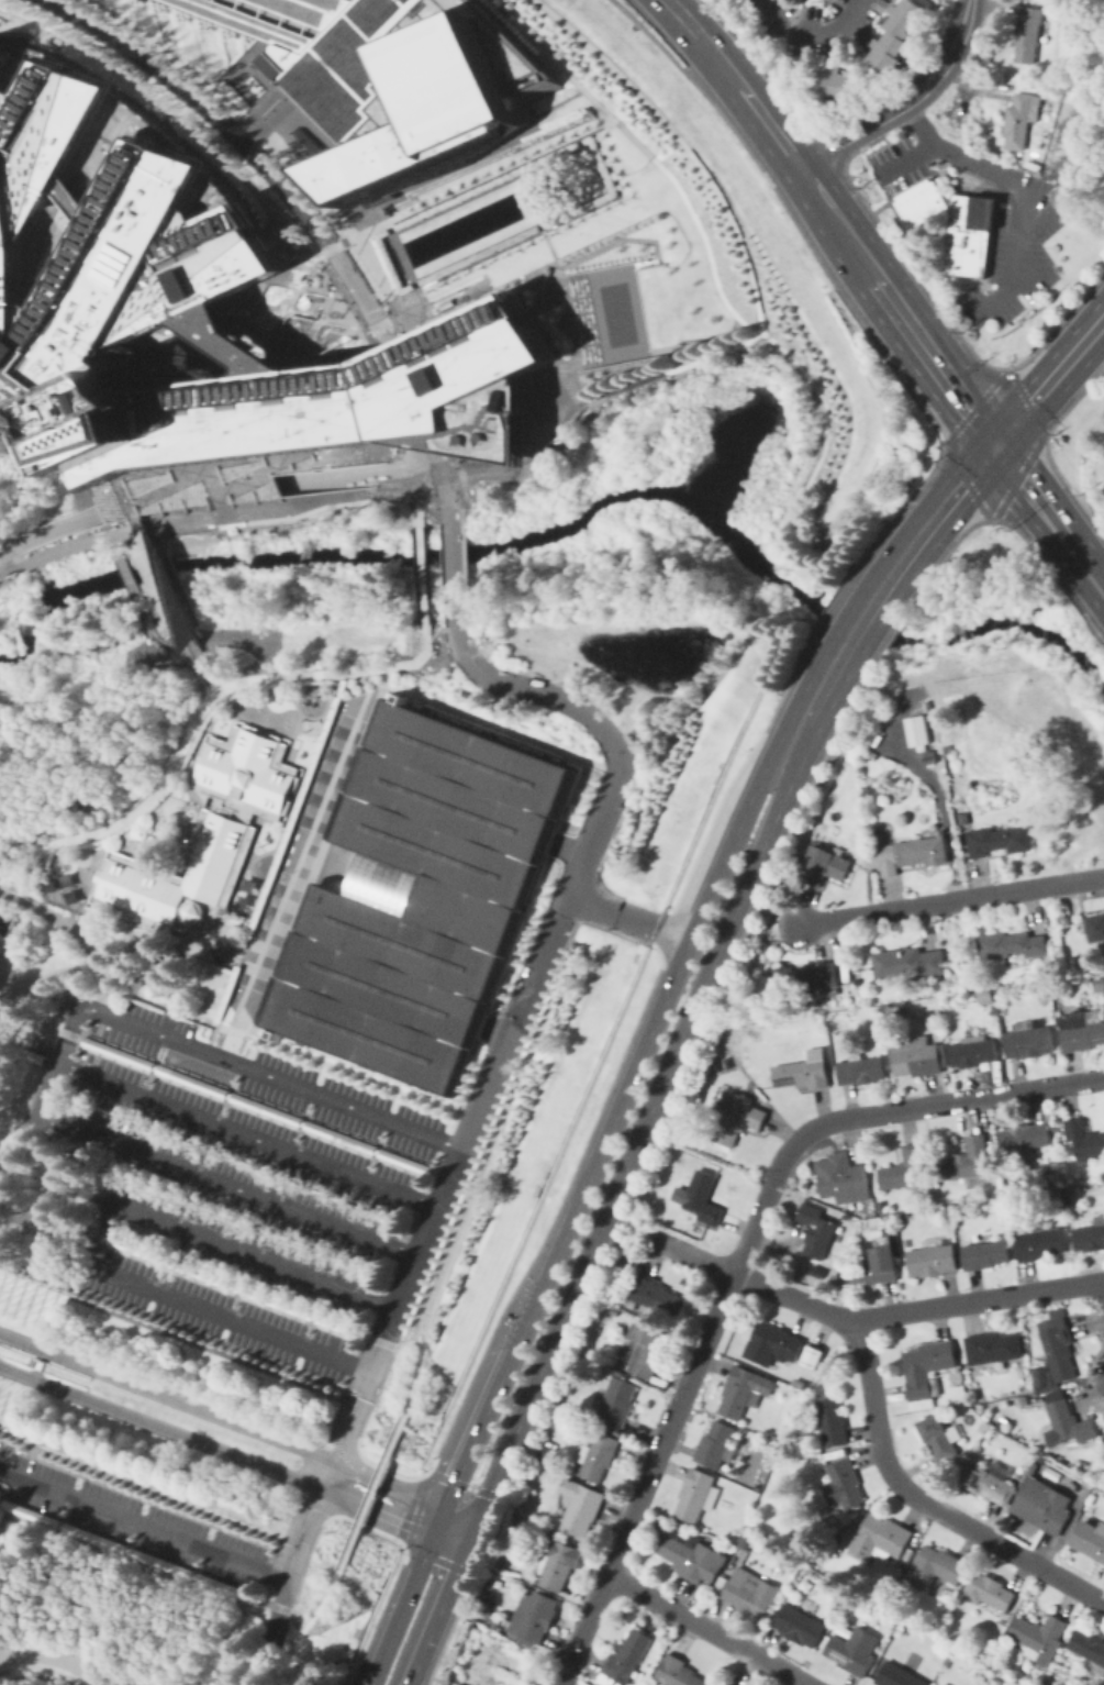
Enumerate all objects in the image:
road: (810, 33)
building: (1028, 34)
building: (899, 35)
parking lot: (356, 53)
road: (735, 79)
building: (837, 82)
building: (392, 85)
road: (960, 90)
road: (906, 103)
road: (264, 115)
building: (1021, 119)
road: (684, 143)
road: (245, 146)
road: (274, 147)
road: (213, 149)
road: (945, 149)
road: (903, 160)
road: (1067, 165)
road: (605, 190)
building: (918, 203)
road: (852, 212)
street lamp: (654, 217)
street lamp: (646, 220)
street lamp: (638, 223)
road: (548, 226)
street lamp: (633, 226)
street lamp: (666, 228)
road: (368, 229)
street lamp: (624, 230)
road: (984, 231)
street lamp: (617, 233)
street lamp: (668, 233)
building: (966, 234)
street lamp: (610, 236)
street lamp: (602, 241)
road: (548, 244)
street lamp: (595, 244)
street lamp: (666, 244)
road: (327, 246)
street lamp: (588, 247)
street lamp: (667, 248)
street lamp: (581, 251)
road: (812, 253)
road: (1013, 253)
street lamp: (573, 254)
street lamp: (566, 257)
street lamp: (559, 260)
road: (548, 271)
street lamp: (508, 284)
street lamp: (500, 288)
street lamp: (492, 291)
road: (927, 292)
street lamp: (484, 295)
street lamp: (478, 298)
street lamp: (471, 301)
road: (1039, 301)
building: (197, 304)
road: (423, 304)
street lamp: (464, 304)
road: (893, 306)
street lamp: (457, 308)
street lamp: (449, 311)
park: (615, 313)
street lamp: (442, 314)
street lamp: (435, 318)
road: (536, 324)
road: (376, 326)
road: (774, 344)
road: (1004, 348)
road: (669, 351)
road: (561, 366)
road: (631, 384)
road: (438, 395)
road: (410, 398)
road: (576, 398)
road: (381, 401)
road: (974, 404)
road: (997, 437)
traffic signals: (994, 443)
road: (403, 456)
road: (518, 459)
road: (437, 470)
road: (459, 472)
road: (356, 476)
road: (486, 478)
road: (179, 480)
road: (436, 494)
road: (413, 497)
road: (189, 498)
road: (459, 505)
road: (321, 507)
road: (448, 507)
road: (1049, 516)
road: (49, 531)
road: (901, 531)
road: (111, 534)
road: (454, 572)
road: (464, 572)
road: (419, 574)
road: (843, 581)
building: (166, 591)
road: (171, 601)
road: (865, 612)
road: (582, 669)
road: (213, 692)
road: (817, 695)
road: (200, 711)
road: (500, 727)
building: (915, 730)
road: (562, 756)
building: (928, 761)
building: (294, 808)
road: (940, 809)
building: (962, 818)
building: (204, 834)
building: (999, 840)
road: (569, 845)
track: (317, 853)
building: (913, 853)
track: (298, 857)
building: (823, 866)
road: (24, 876)
building: (420, 896)
parking garage: (420, 896)
road: (564, 900)
road: (952, 900)
building: (1094, 927)
road: (75, 933)
building: (1012, 945)
building: (908, 963)
road: (52, 969)
building: (806, 978)
building: (1099, 985)
building: (224, 991)
building: (983, 995)
road: (70, 1024)
road: (650, 1028)
road: (494, 1030)
building: (1081, 1030)
building: (0, 1039)
building: (1028, 1040)
road: (625, 1045)
road: (289, 1050)
building: (22, 1052)
building: (972, 1053)
building: (917, 1056)
building: (861, 1069)
road: (40, 1071)
building: (803, 1072)
road: (280, 1078)
road: (506, 1087)
road: (46, 1089)
building: (258, 1105)
road: (876, 1115)
building: (738, 1119)
road: (642, 1127)
road: (244, 1137)
building: (1025, 1138)
building: (1083, 1139)
road: (19, 1164)
building: (970, 1164)
building: (903, 1168)
parking lot: (230, 1178)
building: (841, 1178)
road: (226, 1186)
building: (703, 1197)
road: (19, 1205)
building: (63, 1220)
road: (63, 1221)
road: (628, 1228)
building: (816, 1231)
road: (98, 1233)
building: (1090, 1235)
road: (207, 1237)
building: (1039, 1241)
building: (985, 1254)
building: (932, 1259)
building: (874, 1266)
flagpole: (1, 1277)
flagpole: (12, 1282)
flagpole: (23, 1285)
road: (237, 1286)
building: (237, 1287)
flagpole: (33, 1289)
flagpole: (9, 1290)
flagpole: (44, 1294)
flagpole: (20, 1295)
building: (656, 1296)
flagpole: (54, 1297)
flagpole: (30, 1298)
flagpole: (5, 1299)
flagpole: (16, 1302)
flagpole: (41, 1302)
road: (194, 1306)
flagpole: (26, 1307)
flagpole: (51, 1307)
flagpole: (2, 1308)
flagpole: (37, 1311)
flagpole: (12, 1312)
road: (392, 1313)
flagpole: (47, 1315)
flagpole: (23, 1317)
flagpole: (33, 1320)
road: (871, 1320)
flagpole: (44, 1324)
road: (379, 1340)
building: (772, 1343)
building: (1058, 1344)
building: (647, 1349)
building: (992, 1350)
building: (812, 1357)
building: (37, 1364)
building: (927, 1371)
building: (1044, 1379)
building: (800, 1382)
building: (743, 1390)
flagpole: (5, 1395)
road: (85, 1395)
flagpole: (16, 1398)
building: (618, 1403)
flagpole: (2, 1404)
flagpole: (13, 1408)
flagpole: (10, 1416)
road: (222, 1416)
building: (1002, 1419)
road: (352, 1420)
road: (480, 1420)
building: (833, 1421)
building: (1069, 1423)
flagpole: (5, 1426)
building: (983, 1427)
road: (357, 1434)
road: (191, 1435)
building: (940, 1437)
parking lot: (4, 1446)
building: (717, 1446)
building: (548, 1453)
building: (599, 1455)
street lamp: (3, 1457)
road: (434, 1457)
road: (648, 1477)
building: (989, 1482)
street lamp: (75, 1484)
road: (323, 1486)
building: (839, 1486)
road: (371, 1493)
building: (696, 1495)
road: (927, 1504)
traffic signals: (444, 1505)
building: (1042, 1505)
road: (414, 1507)
building: (582, 1507)
street lamp: (141, 1509)
road: (3, 1512)
road: (459, 1512)
parking lot: (129, 1519)
road: (437, 1519)
road: (360, 1521)
traffic signals: (476, 1521)
street lamp: (208, 1533)
traffic signals: (432, 1533)
building: (880, 1539)
road: (448, 1540)
building: (1090, 1540)
building: (747, 1541)
road: (192, 1544)
street lamp: (272, 1547)
traffic signals: (465, 1547)
building: (125, 1549)
road: (125, 1550)
building: (176, 1550)
road: (403, 1552)
building: (693, 1557)
building: (557, 1562)
building: (936, 1567)
building: (990, 1592)
building: (752, 1594)
road: (252, 1598)
road: (441, 1603)
road: (127, 1607)
road: (400, 1608)
road: (285, 1609)
building: (535, 1618)
road: (376, 1623)
building: (800, 1625)
road: (303, 1628)
road: (709, 1629)
building: (1038, 1637)
building: (1089, 1648)
building: (852, 1651)
track: (54, 1660)
building: (624, 1660)
building: (679, 1672)
building: (897, 1675)
road: (434, 1676)
building: (727, 1683)
building: (731, 1683)
road: (561, 1684)
road: (564, 1684)

